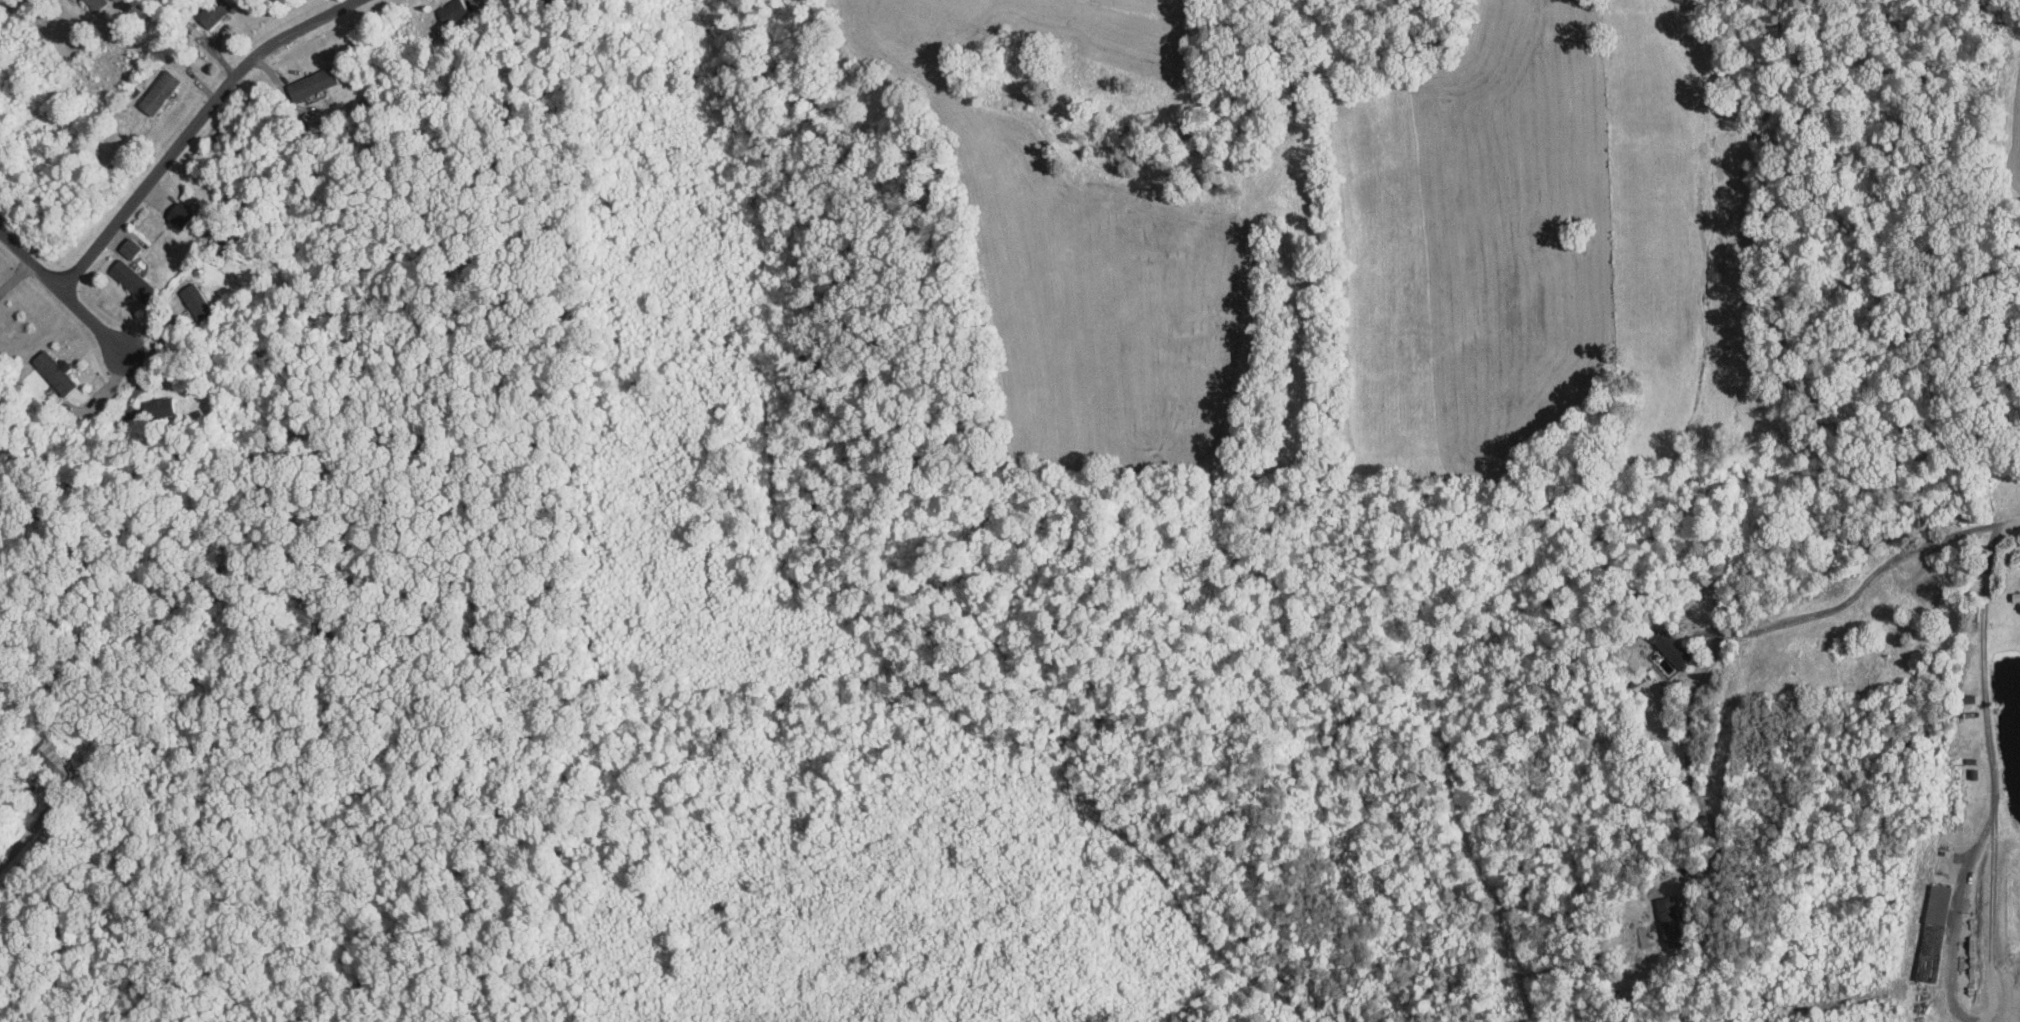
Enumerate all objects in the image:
building: (92, 4)
building: (451, 11)
building: (211, 12)
building: (309, 83)
building: (157, 92)
road: (190, 124)
building: (129, 247)
road: (19, 272)
building: (129, 277)
building: (195, 300)
road: (123, 332)
building: (54, 371)
building: (159, 406)
road: (1868, 581)
building: (1671, 647)
building: (54, 757)
road: (1689, 758)
road: (1992, 882)
building: (1668, 910)
building: (1931, 932)

